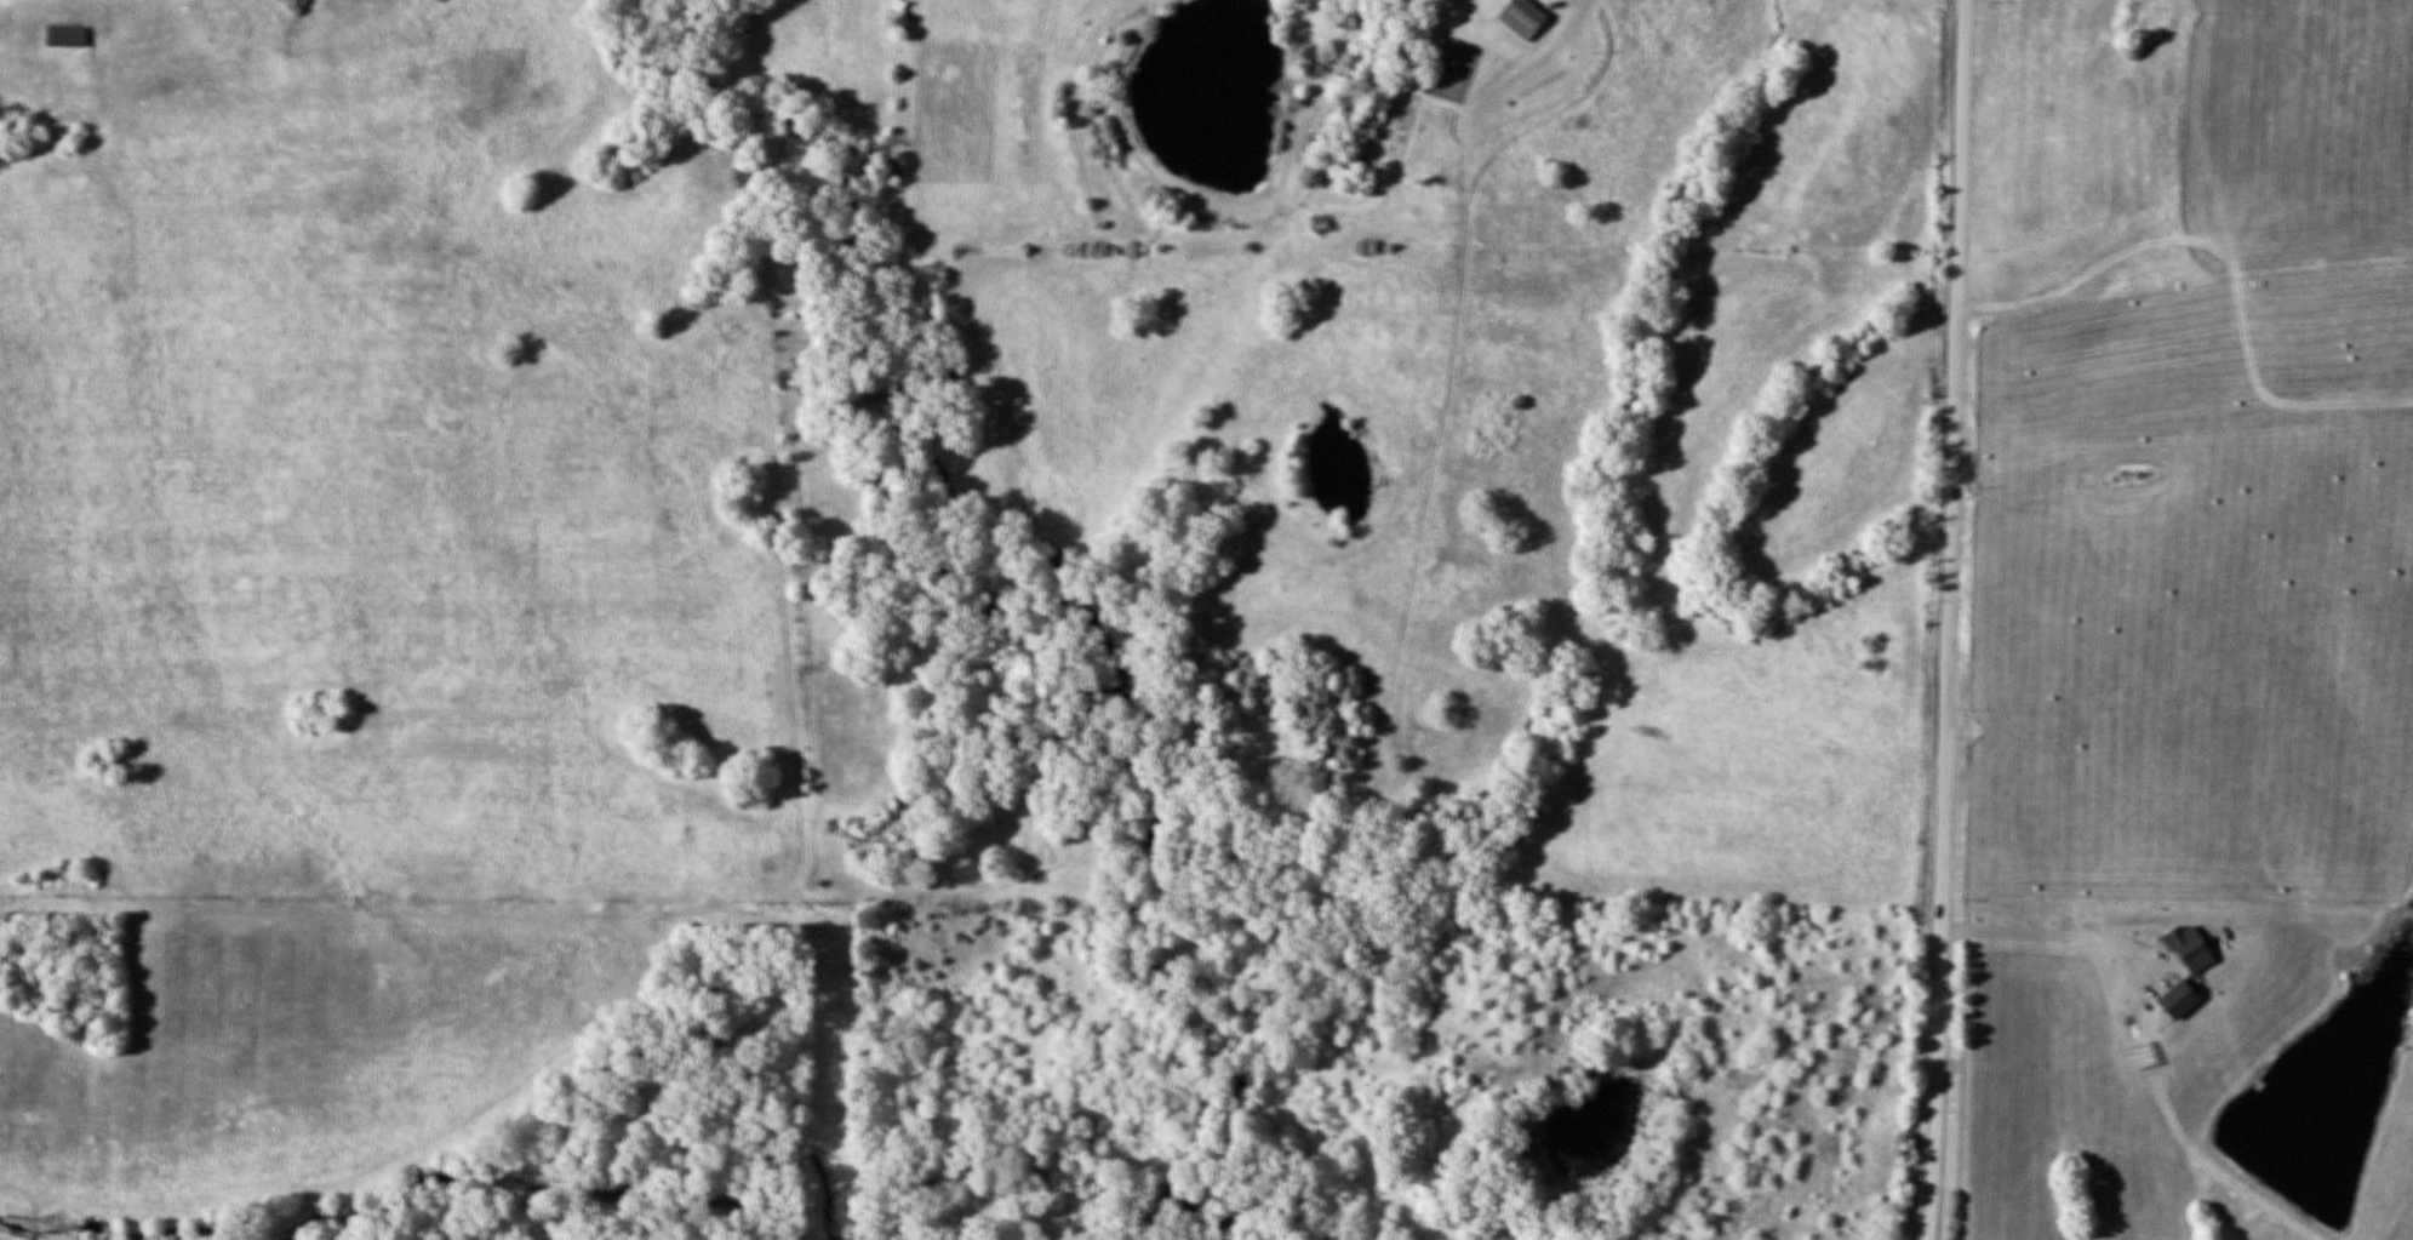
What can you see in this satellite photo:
building: (1523, 18)
building: (67, 36)
road: (1945, 621)

